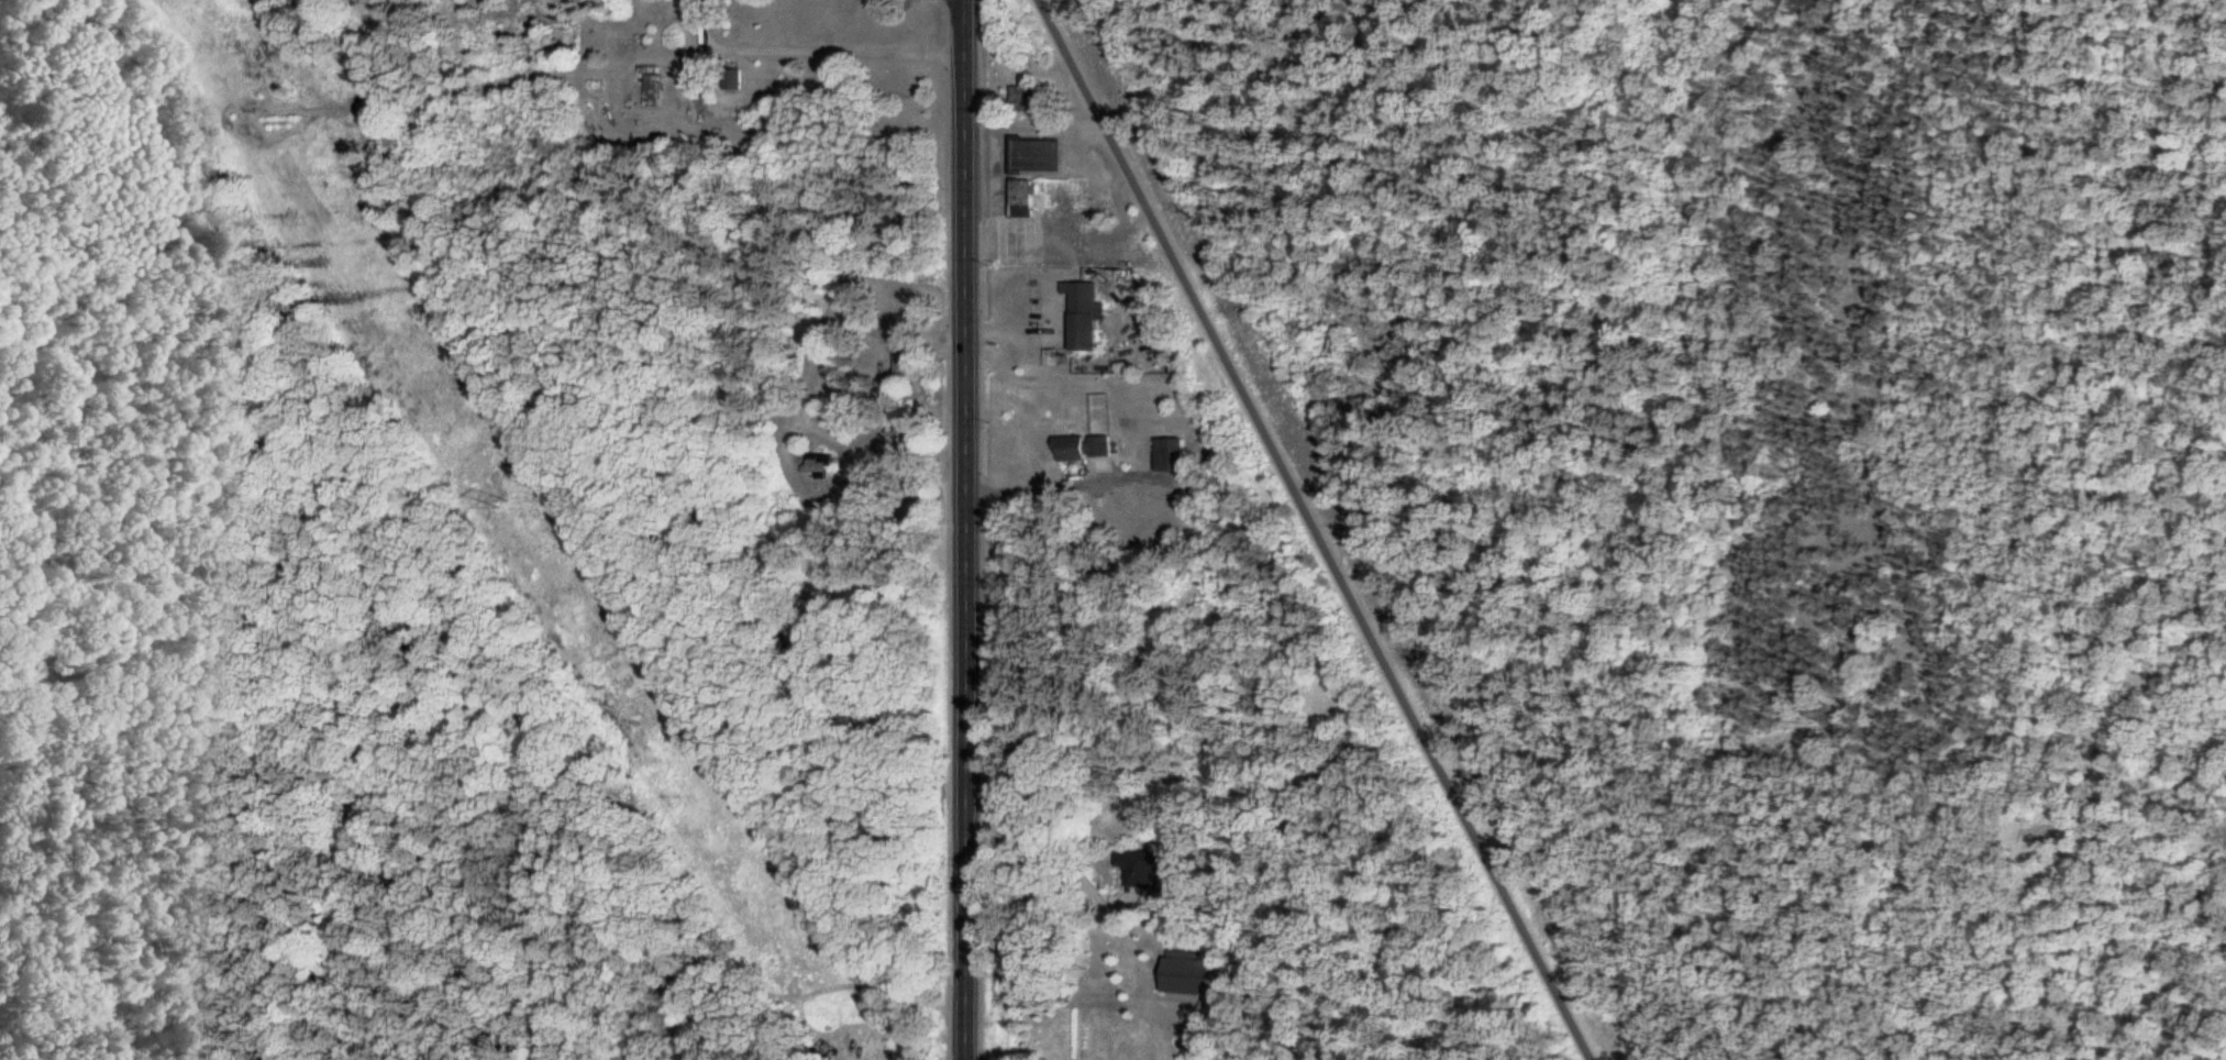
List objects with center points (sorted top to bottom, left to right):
road: (815, 47)
building: (657, 92)
building: (1033, 98)
building: (1043, 157)
building: (1033, 200)
building: (1092, 319)
road: (2046, 342)
building: (910, 365)
building: (1089, 450)
road: (896, 454)
building: (1176, 456)
building: (826, 466)
road: (1039, 483)
power tower: (505, 497)
road: (975, 530)
road: (1319, 530)
road: (1970, 703)
road: (1076, 861)
building: (1156, 871)
building: (1194, 975)

